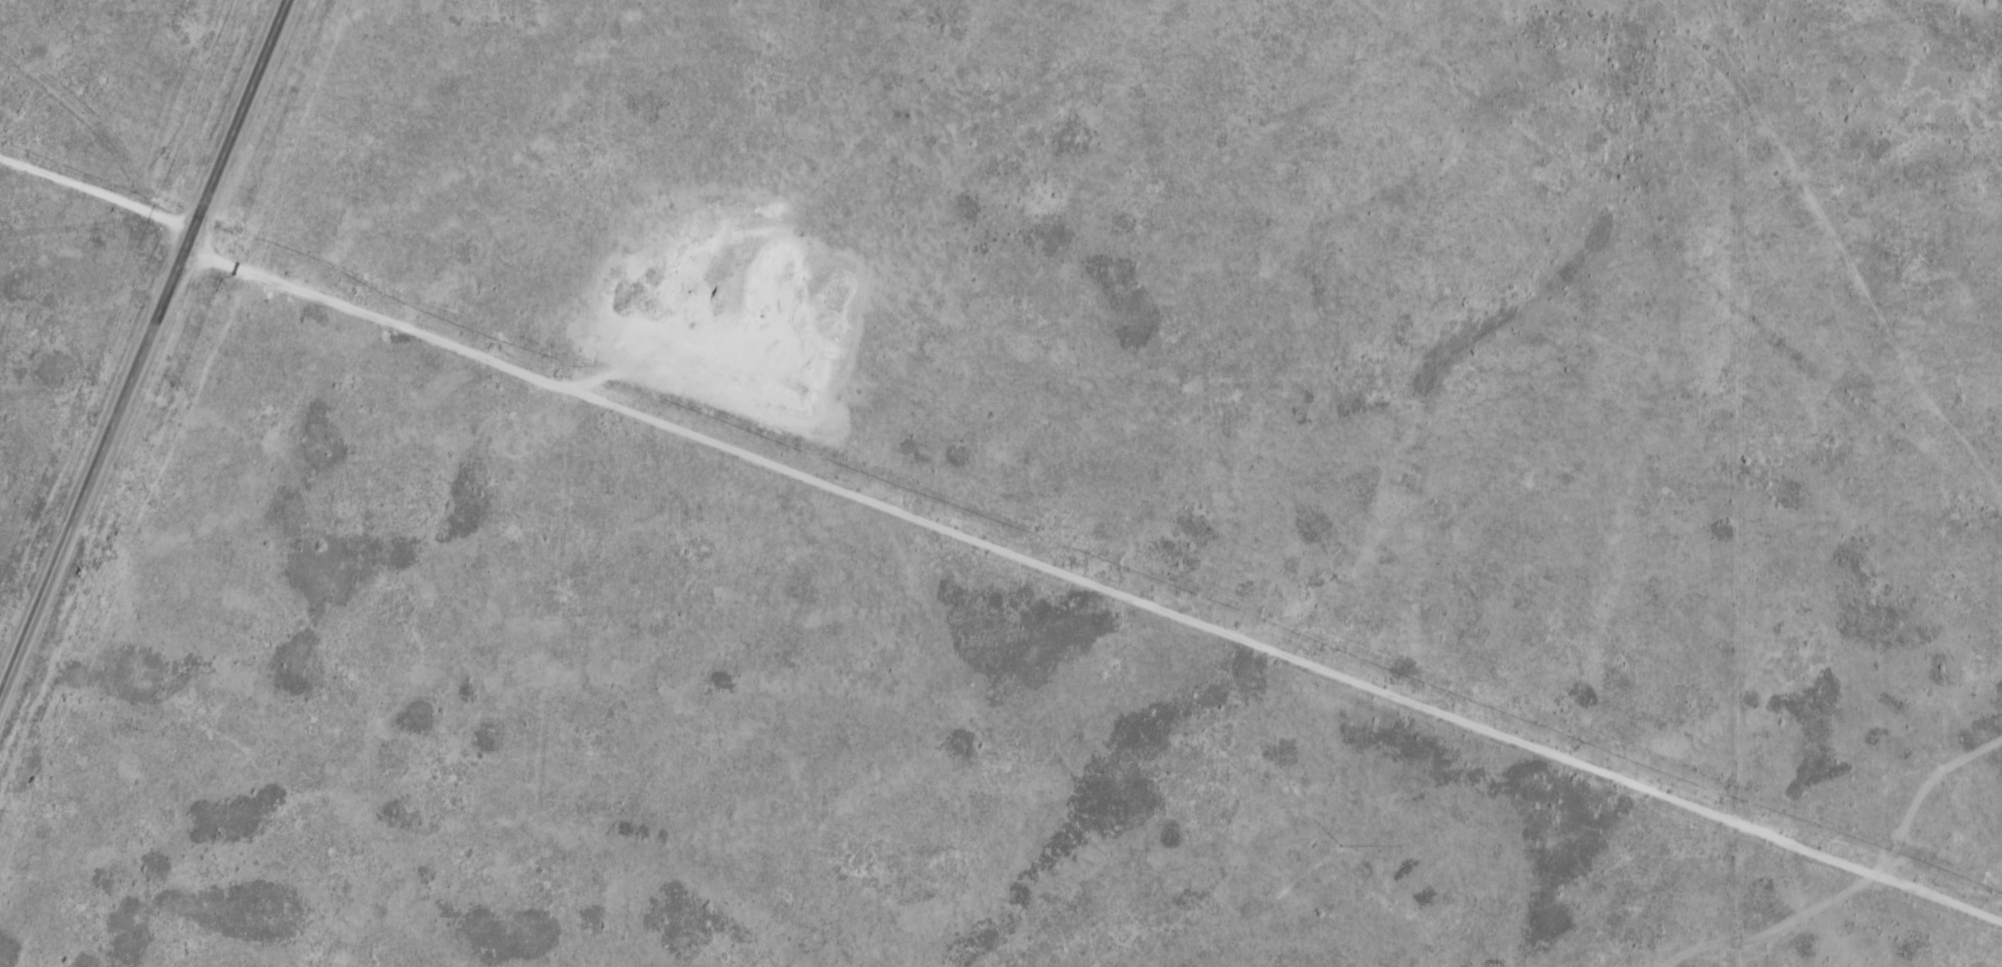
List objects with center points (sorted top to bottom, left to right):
road: (144, 351)
road: (967, 484)

